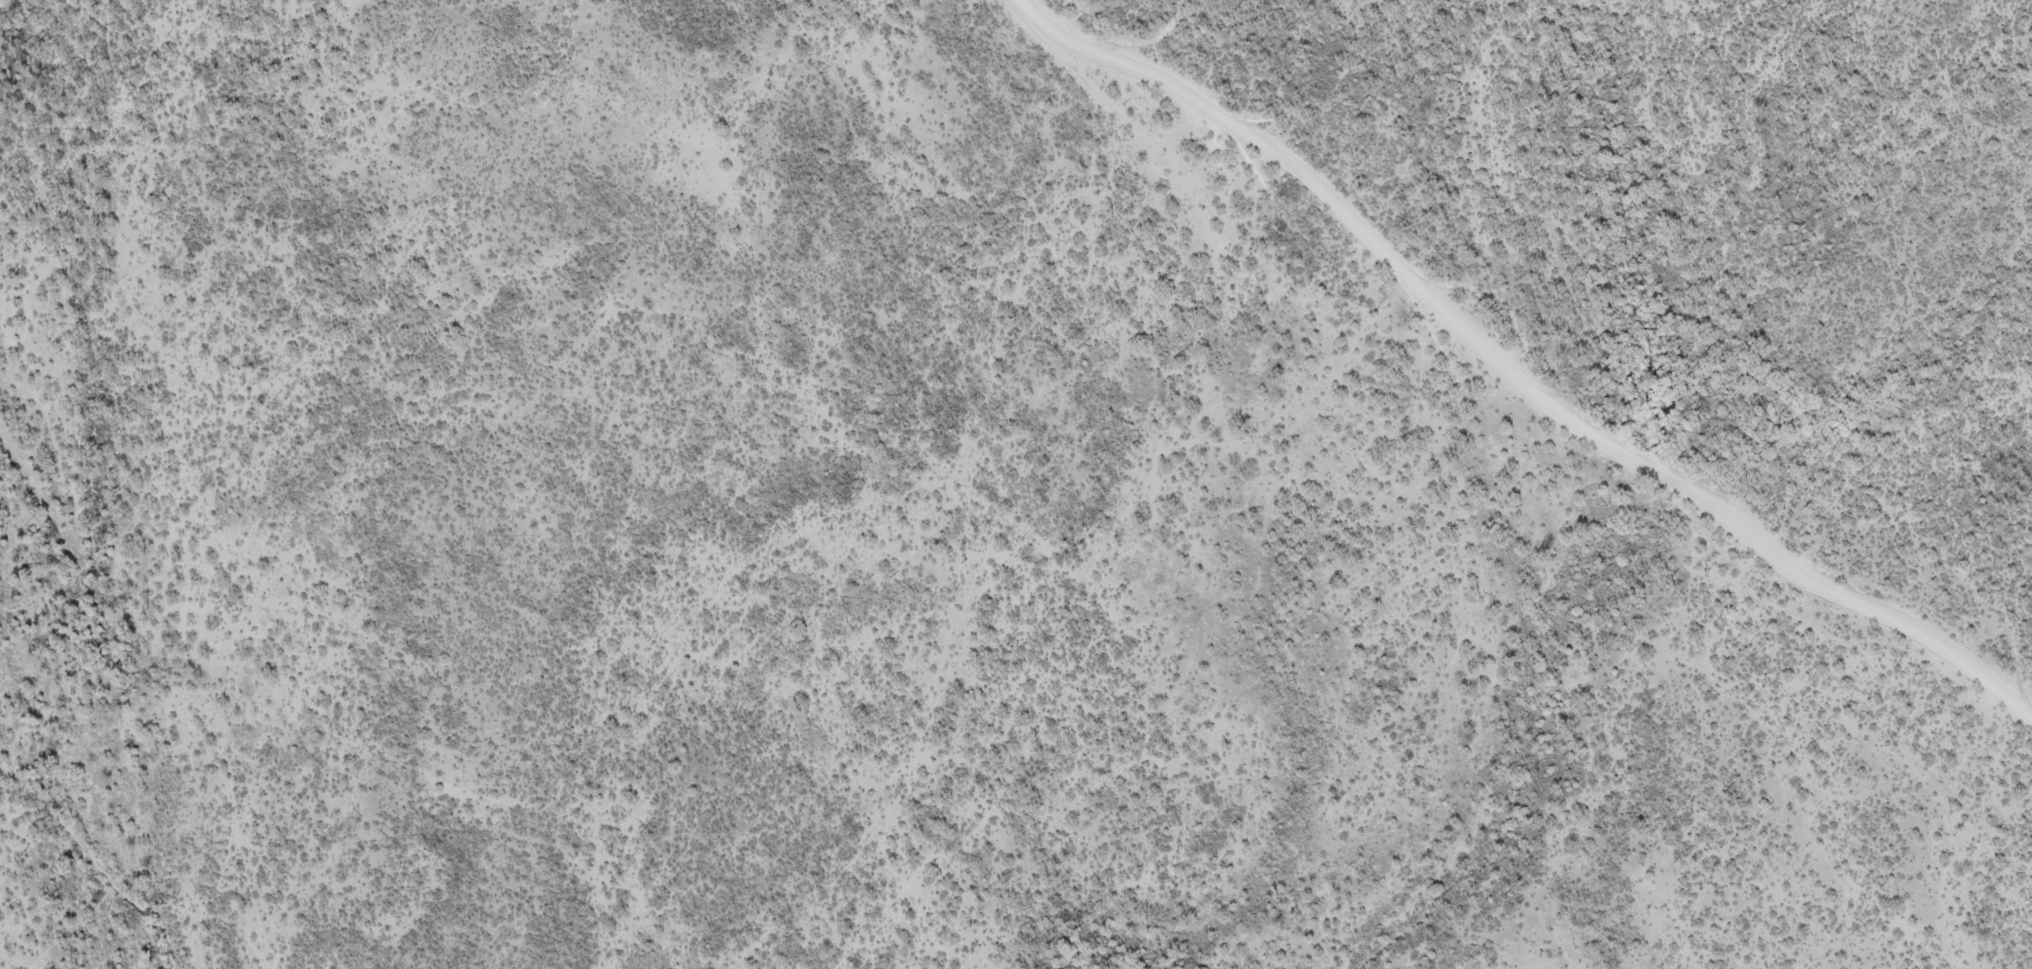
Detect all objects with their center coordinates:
road: (1513, 374)

